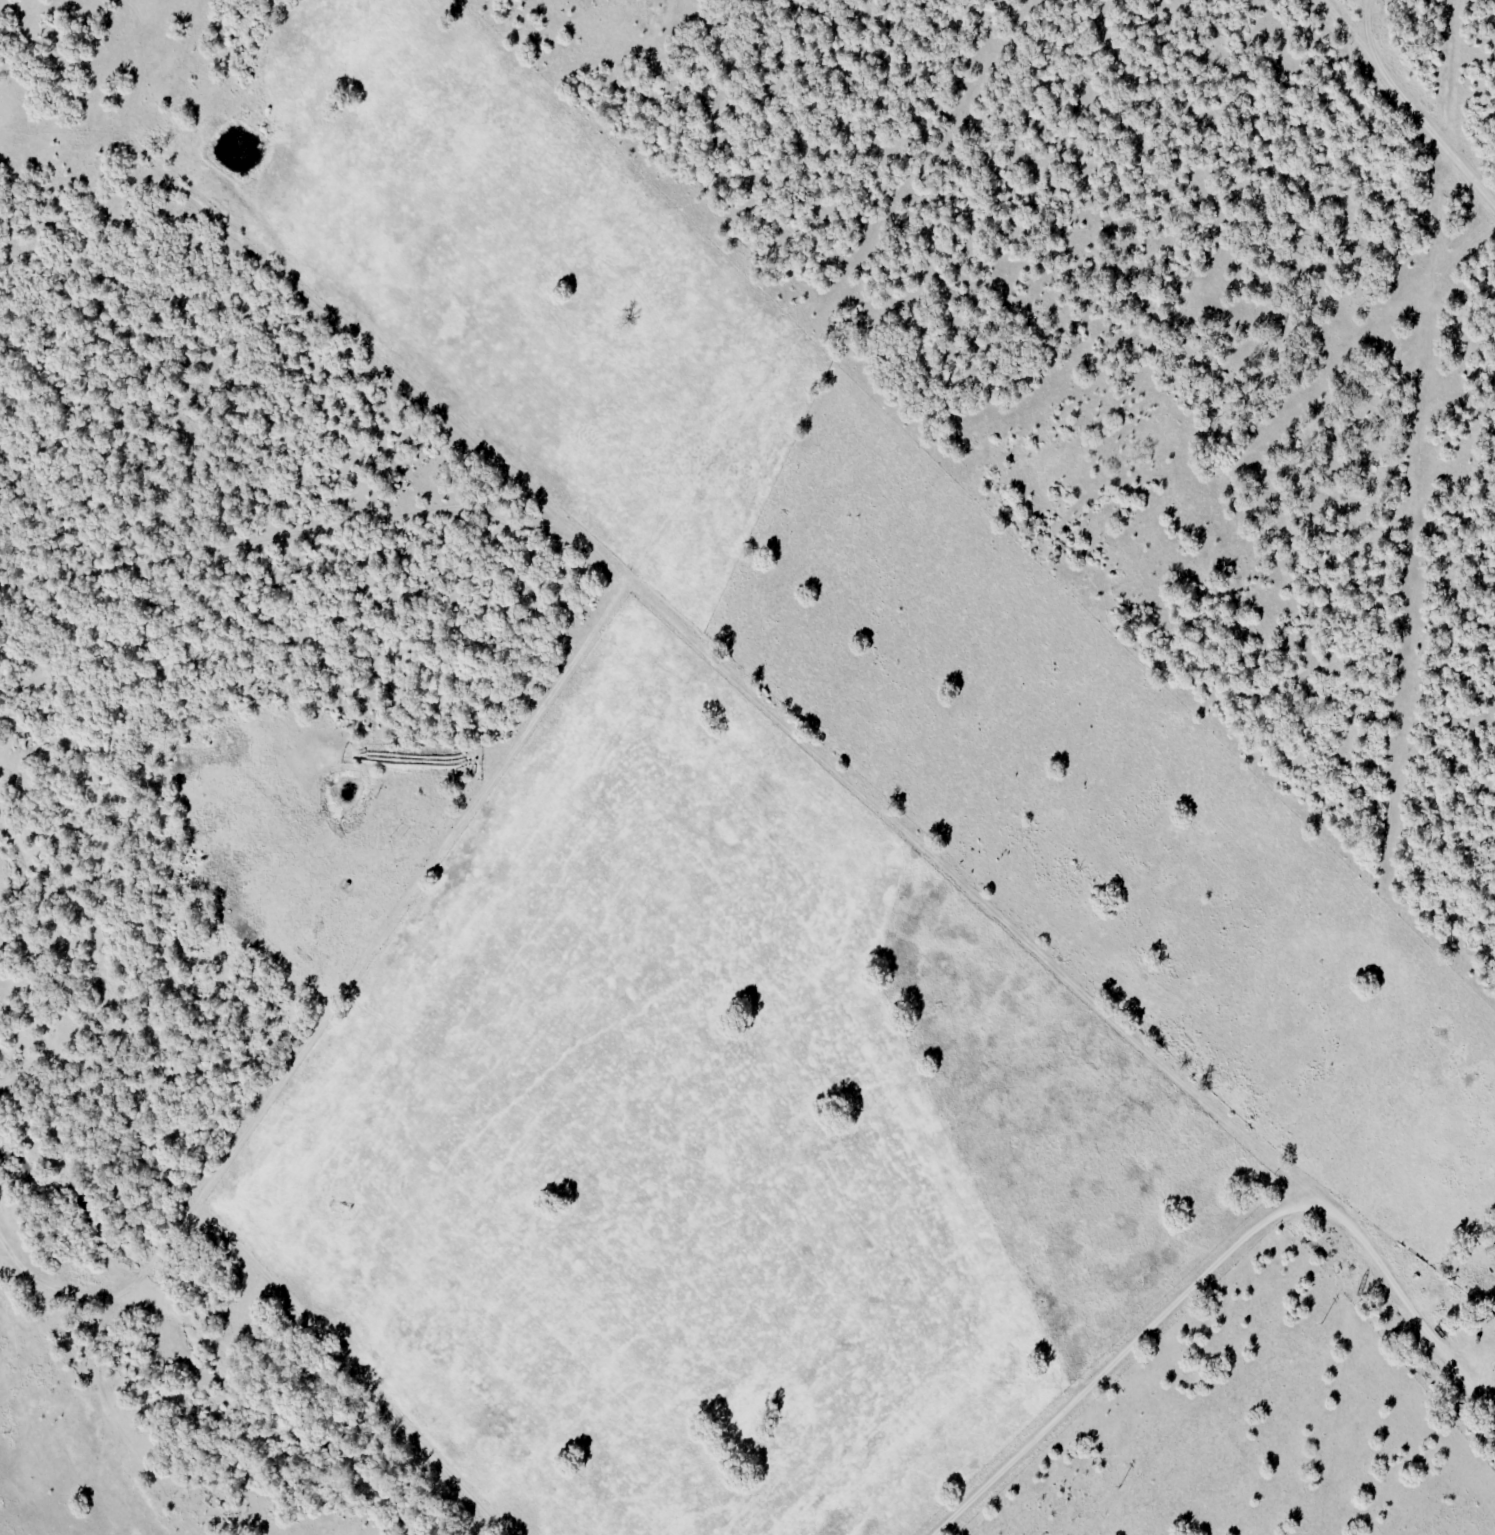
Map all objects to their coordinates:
road: (1390, 119)
road: (1247, 1317)

